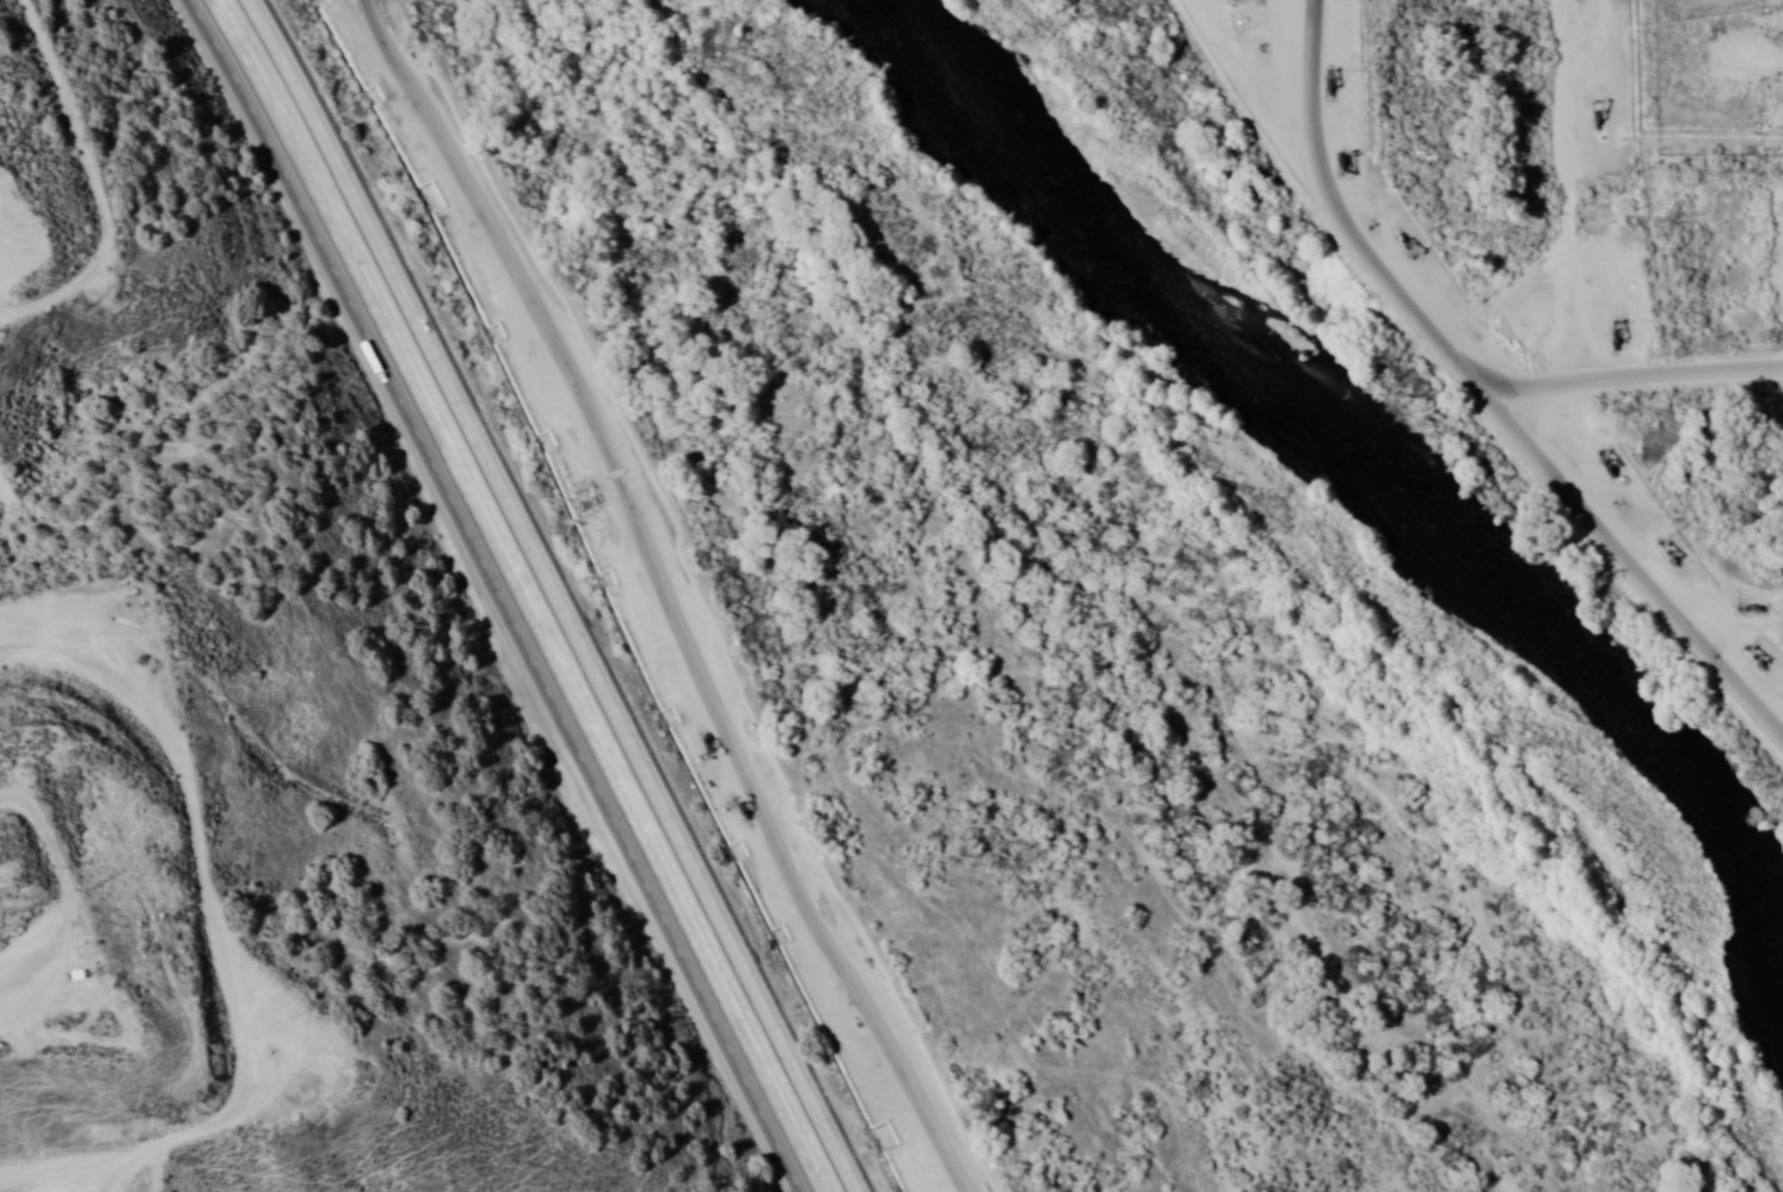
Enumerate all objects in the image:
road: (1309, 35)
road: (1225, 47)
road: (1567, 185)
road: (18, 223)
road: (1633, 370)
road: (1508, 417)
river: (1352, 496)
road: (494, 592)
road: (560, 592)
road: (670, 596)
road: (1782, 725)
road: (1782, 730)
road: (187, 985)

